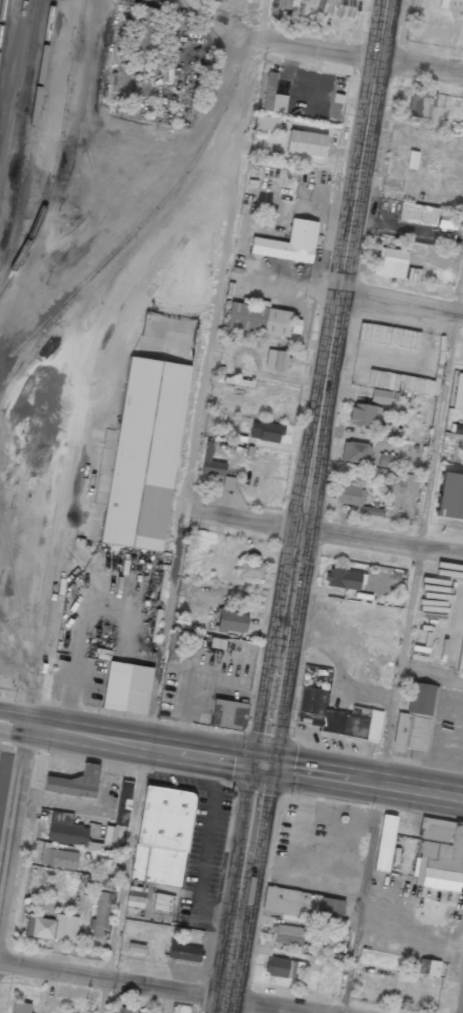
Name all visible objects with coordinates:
building: (285, 4)
building: (451, 4)
building: (337, 7)
railway: (2, 13)
building: (146, 34)
road: (362, 58)
building: (273, 96)
building: (420, 105)
building: (266, 124)
building: (306, 143)
railway: (59, 149)
building: (417, 214)
building: (446, 220)
railway: (136, 229)
building: (288, 243)
building: (390, 263)
road: (404, 304)
building: (259, 319)
building: (295, 326)
building: (388, 335)
building: (277, 359)
road: (208, 373)
building: (398, 382)
building: (458, 393)
building: (379, 396)
building: (363, 415)
road: (442, 419)
building: (265, 431)
building: (355, 452)
building: (145, 454)
building: (386, 460)
building: (211, 462)
building: (349, 495)
building: (450, 496)
road: (307, 506)
road: (324, 533)
building: (250, 569)
building: (344, 579)
building: (231, 621)
road: (400, 667)
building: (126, 688)
building: (228, 714)
road: (33, 715)
building: (334, 717)
building: (416, 719)
road: (4, 733)
road: (35, 736)
traffic signals: (261, 765)
road: (262, 765)
building: (74, 783)
building: (124, 804)
building: (66, 830)
building: (110, 833)
road: (15, 836)
building: (163, 836)
building: (385, 843)
building: (439, 856)
building: (58, 858)
road: (124, 879)
building: (135, 896)
road: (362, 898)
building: (162, 902)
building: (304, 906)
building: (102, 913)
building: (52, 927)
building: (286, 934)
building: (135, 948)
building: (183, 952)
building: (429, 967)
building: (282, 968)
road: (150, 988)
building: (20, 1007)
building: (120, 1009)

